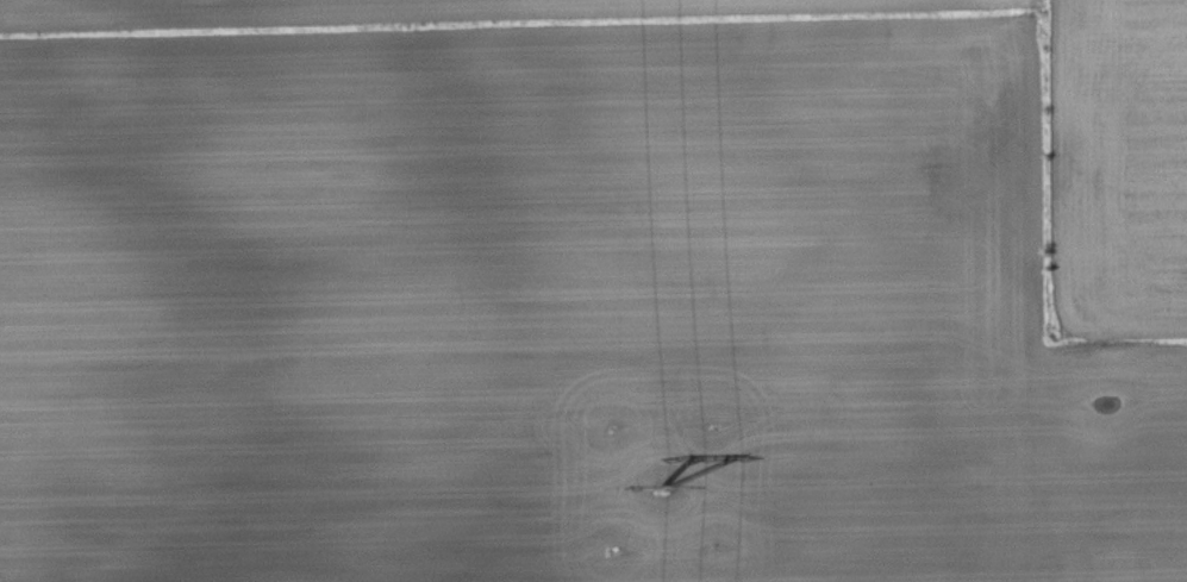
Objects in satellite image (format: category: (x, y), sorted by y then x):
power tower: (661, 487)

